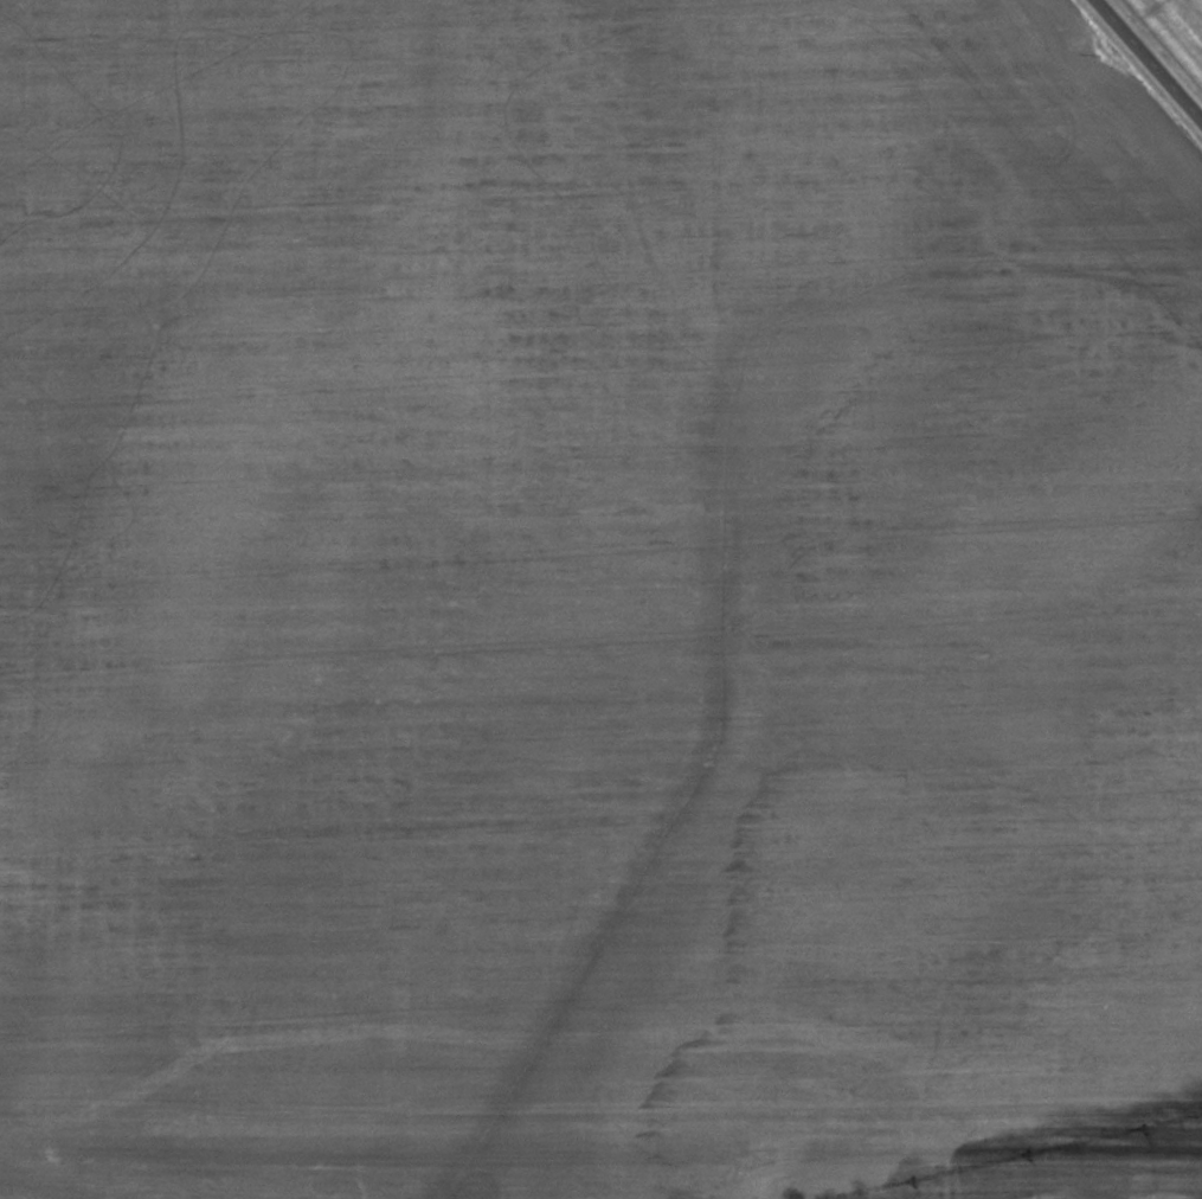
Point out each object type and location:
road: (1149, 58)

